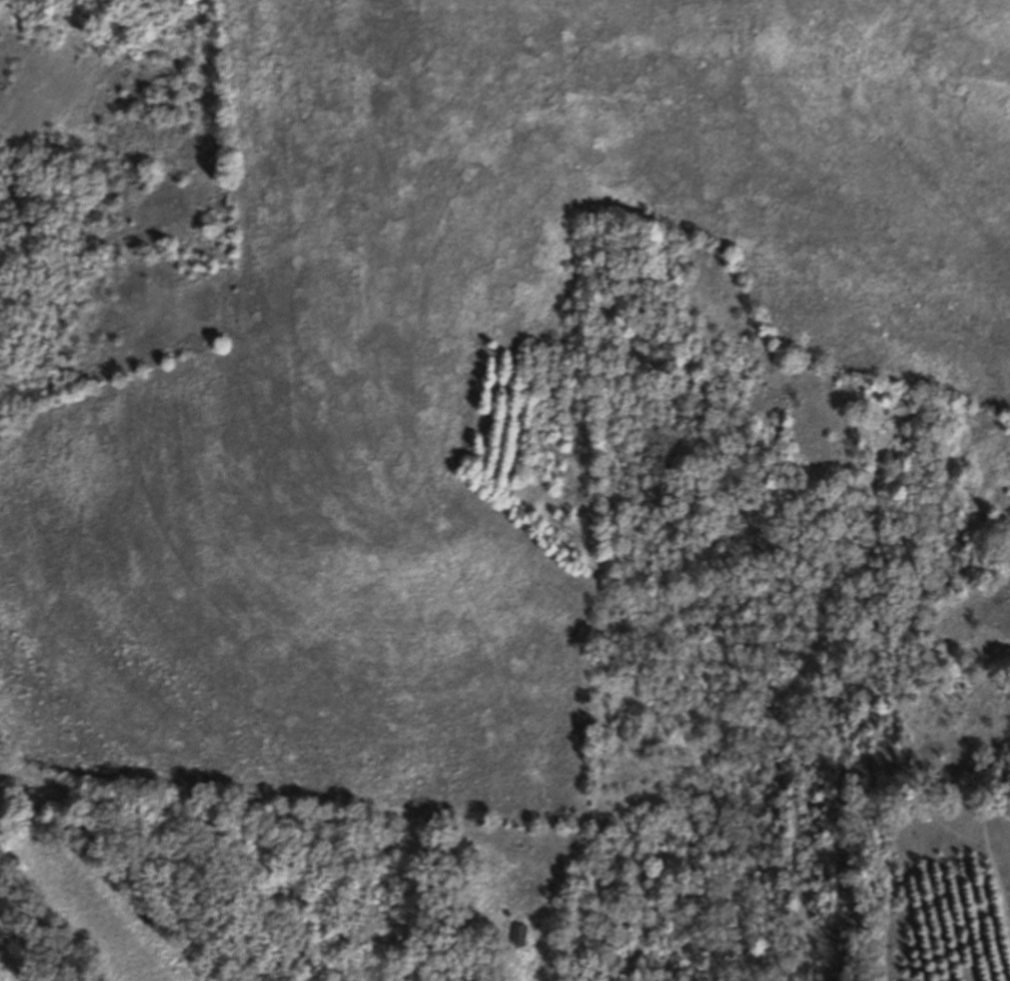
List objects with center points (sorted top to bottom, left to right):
building: (520, 935)

